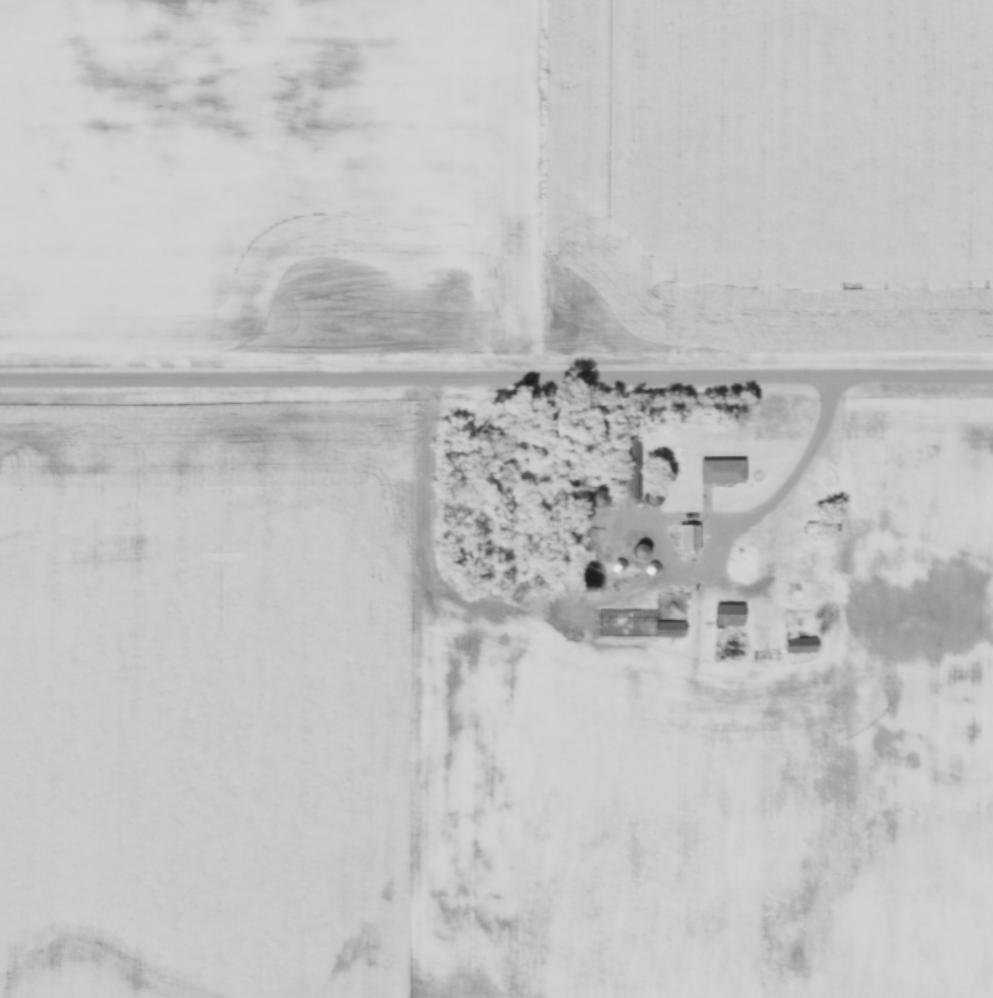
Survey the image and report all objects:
road: (496, 378)
road: (797, 467)
building: (719, 471)
building: (625, 479)
building: (631, 581)
building: (727, 614)
building: (668, 629)
building: (800, 645)

